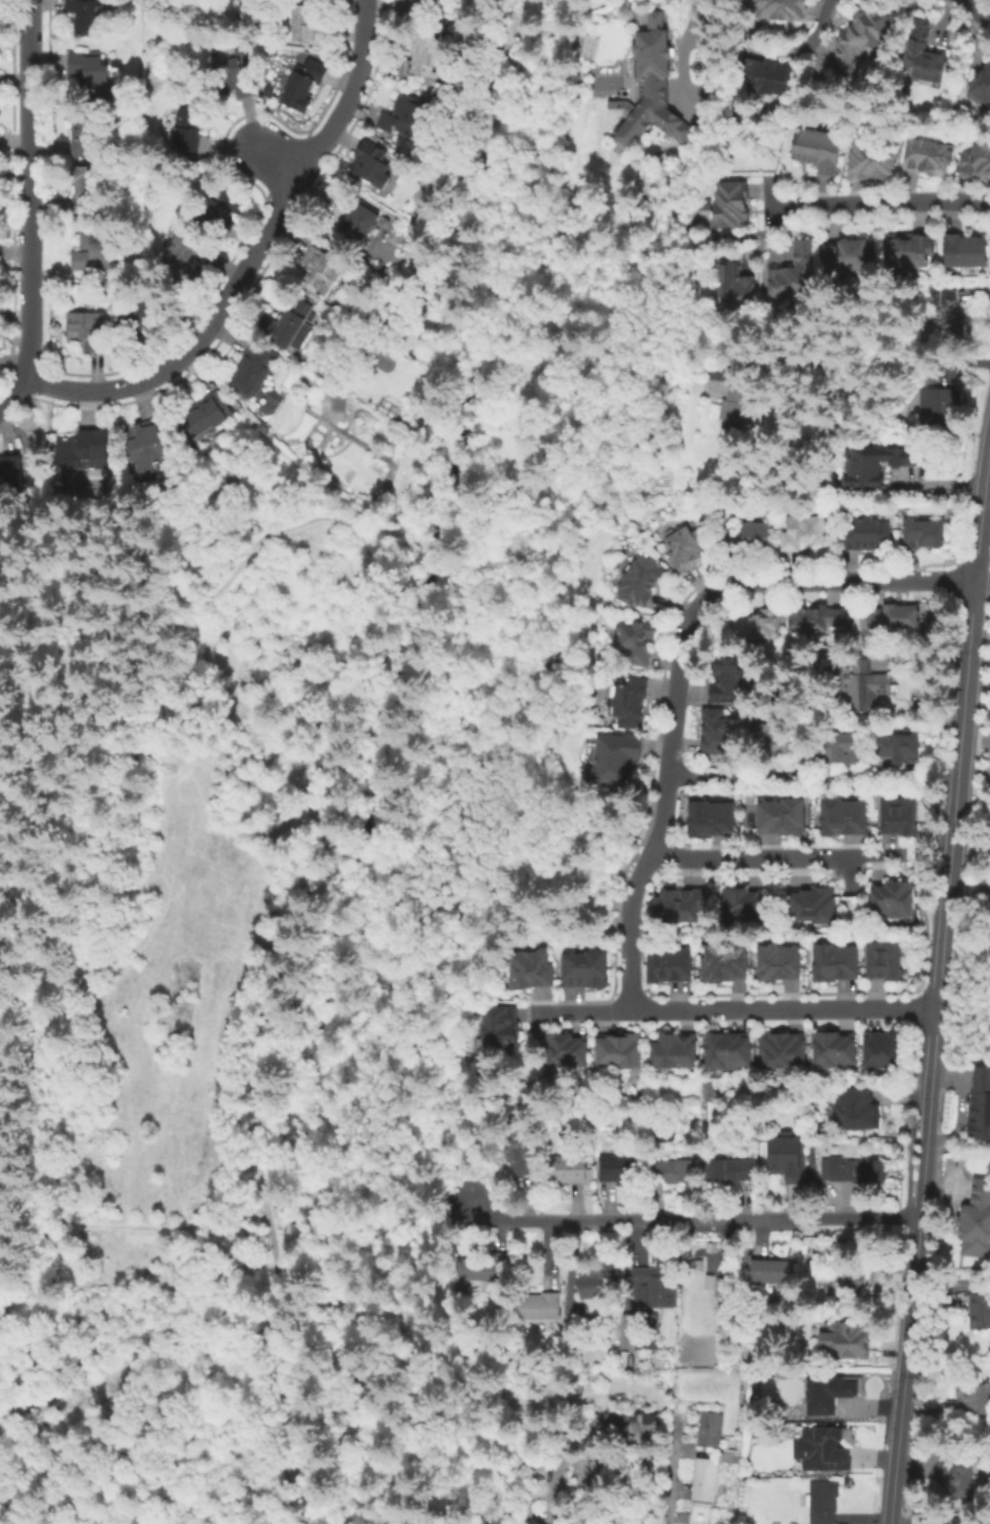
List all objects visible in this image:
road: (590, 2)
building: (415, 7)
road: (979, 8)
building: (778, 9)
building: (87, 17)
building: (310, 27)
road: (689, 36)
building: (860, 40)
building: (426, 55)
building: (924, 57)
building: (89, 70)
building: (239, 76)
building: (767, 77)
building: (305, 84)
building: (653, 87)
building: (982, 88)
building: (407, 119)
building: (190, 134)
building: (87, 140)
building: (818, 151)
building: (929, 159)
road: (280, 161)
building: (873, 161)
building: (975, 162)
building: (372, 167)
building: (80, 185)
building: (91, 196)
road: (879, 204)
road: (768, 206)
building: (221, 207)
building: (731, 208)
road: (31, 209)
building: (360, 222)
road: (705, 241)
building: (909, 251)
building: (191, 252)
building: (966, 252)
building: (95, 253)
building: (850, 257)
road: (250, 258)
building: (325, 274)
building: (796, 275)
building: (735, 289)
road: (572, 291)
building: (948, 310)
building: (143, 318)
building: (293, 327)
building: (88, 331)
building: (253, 368)
building: (743, 405)
building: (939, 410)
building: (208, 418)
building: (152, 443)
building: (81, 452)
building: (874, 464)
building: (12, 477)
road: (980, 504)
road: (55, 525)
building: (803, 534)
building: (866, 534)
building: (925, 534)
building: (750, 536)
building: (684, 549)
building: (642, 582)
road: (744, 583)
road: (510, 596)
road: (640, 612)
building: (894, 618)
building: (819, 622)
building: (756, 625)
building: (637, 643)
building: (726, 681)
building: (860, 685)
building: (628, 705)
building: (715, 731)
road: (958, 737)
building: (771, 740)
building: (844, 750)
building: (900, 751)
building: (613, 758)
road: (731, 776)
road: (858, 776)
road: (935, 777)
building: (899, 818)
building: (781, 819)
building: (845, 820)
building: (711, 821)
road: (776, 858)
road: (631, 891)
road: (83, 894)
building: (893, 900)
building: (680, 905)
building: (815, 905)
building: (744, 908)
building: (886, 960)
building: (726, 962)
building: (838, 962)
building: (781, 963)
building: (670, 966)
building: (532, 970)
building: (585, 971)
road: (734, 1009)
road: (278, 1013)
building: (500, 1029)
building: (730, 1049)
building: (784, 1049)
building: (837, 1049)
building: (677, 1050)
building: (885, 1050)
building: (619, 1052)
building: (566, 1053)
road: (930, 1056)
road: (446, 1081)
building: (980, 1104)
building: (859, 1109)
building: (520, 1151)
building: (789, 1156)
building: (815, 1163)
building: (568, 1168)
building: (619, 1169)
building: (855, 1170)
building: (730, 1171)
building: (673, 1172)
road: (687, 1219)
building: (975, 1220)
building: (711, 1248)
building: (478, 1270)
building: (771, 1273)
building: (659, 1280)
building: (853, 1280)
building: (597, 1285)
building: (723, 1288)
building: (538, 1307)
building: (979, 1312)
building: (640, 1331)
building: (847, 1340)
road: (902, 1370)
building: (827, 1393)
road: (150, 1395)
building: (646, 1396)
building: (970, 1401)
building: (680, 1407)
building: (633, 1428)
building: (710, 1429)
building: (821, 1448)
building: (711, 1474)
building: (591, 1477)
building: (956, 1477)
road: (257, 1480)
road: (667, 1491)
building: (824, 1502)
building: (953, 1521)

